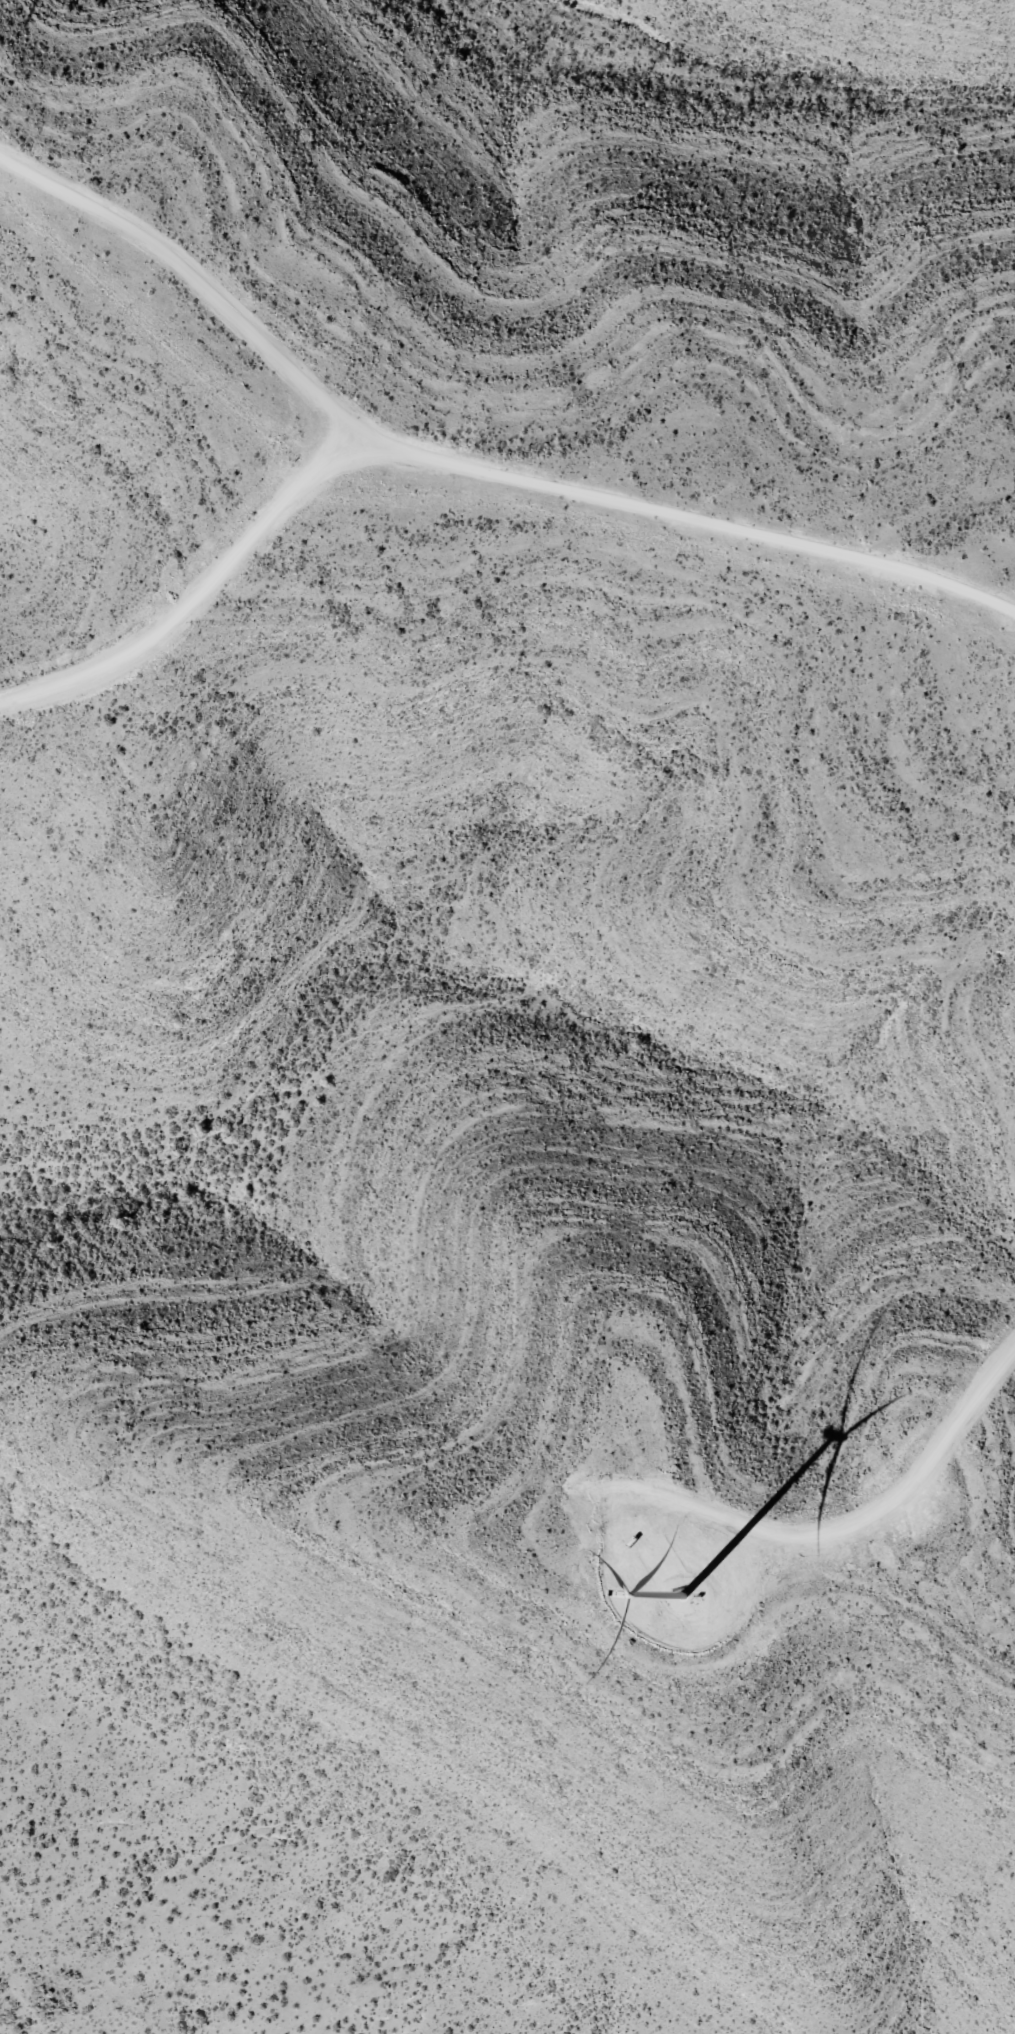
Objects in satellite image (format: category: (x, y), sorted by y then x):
wind turbine: (679, 1594)

